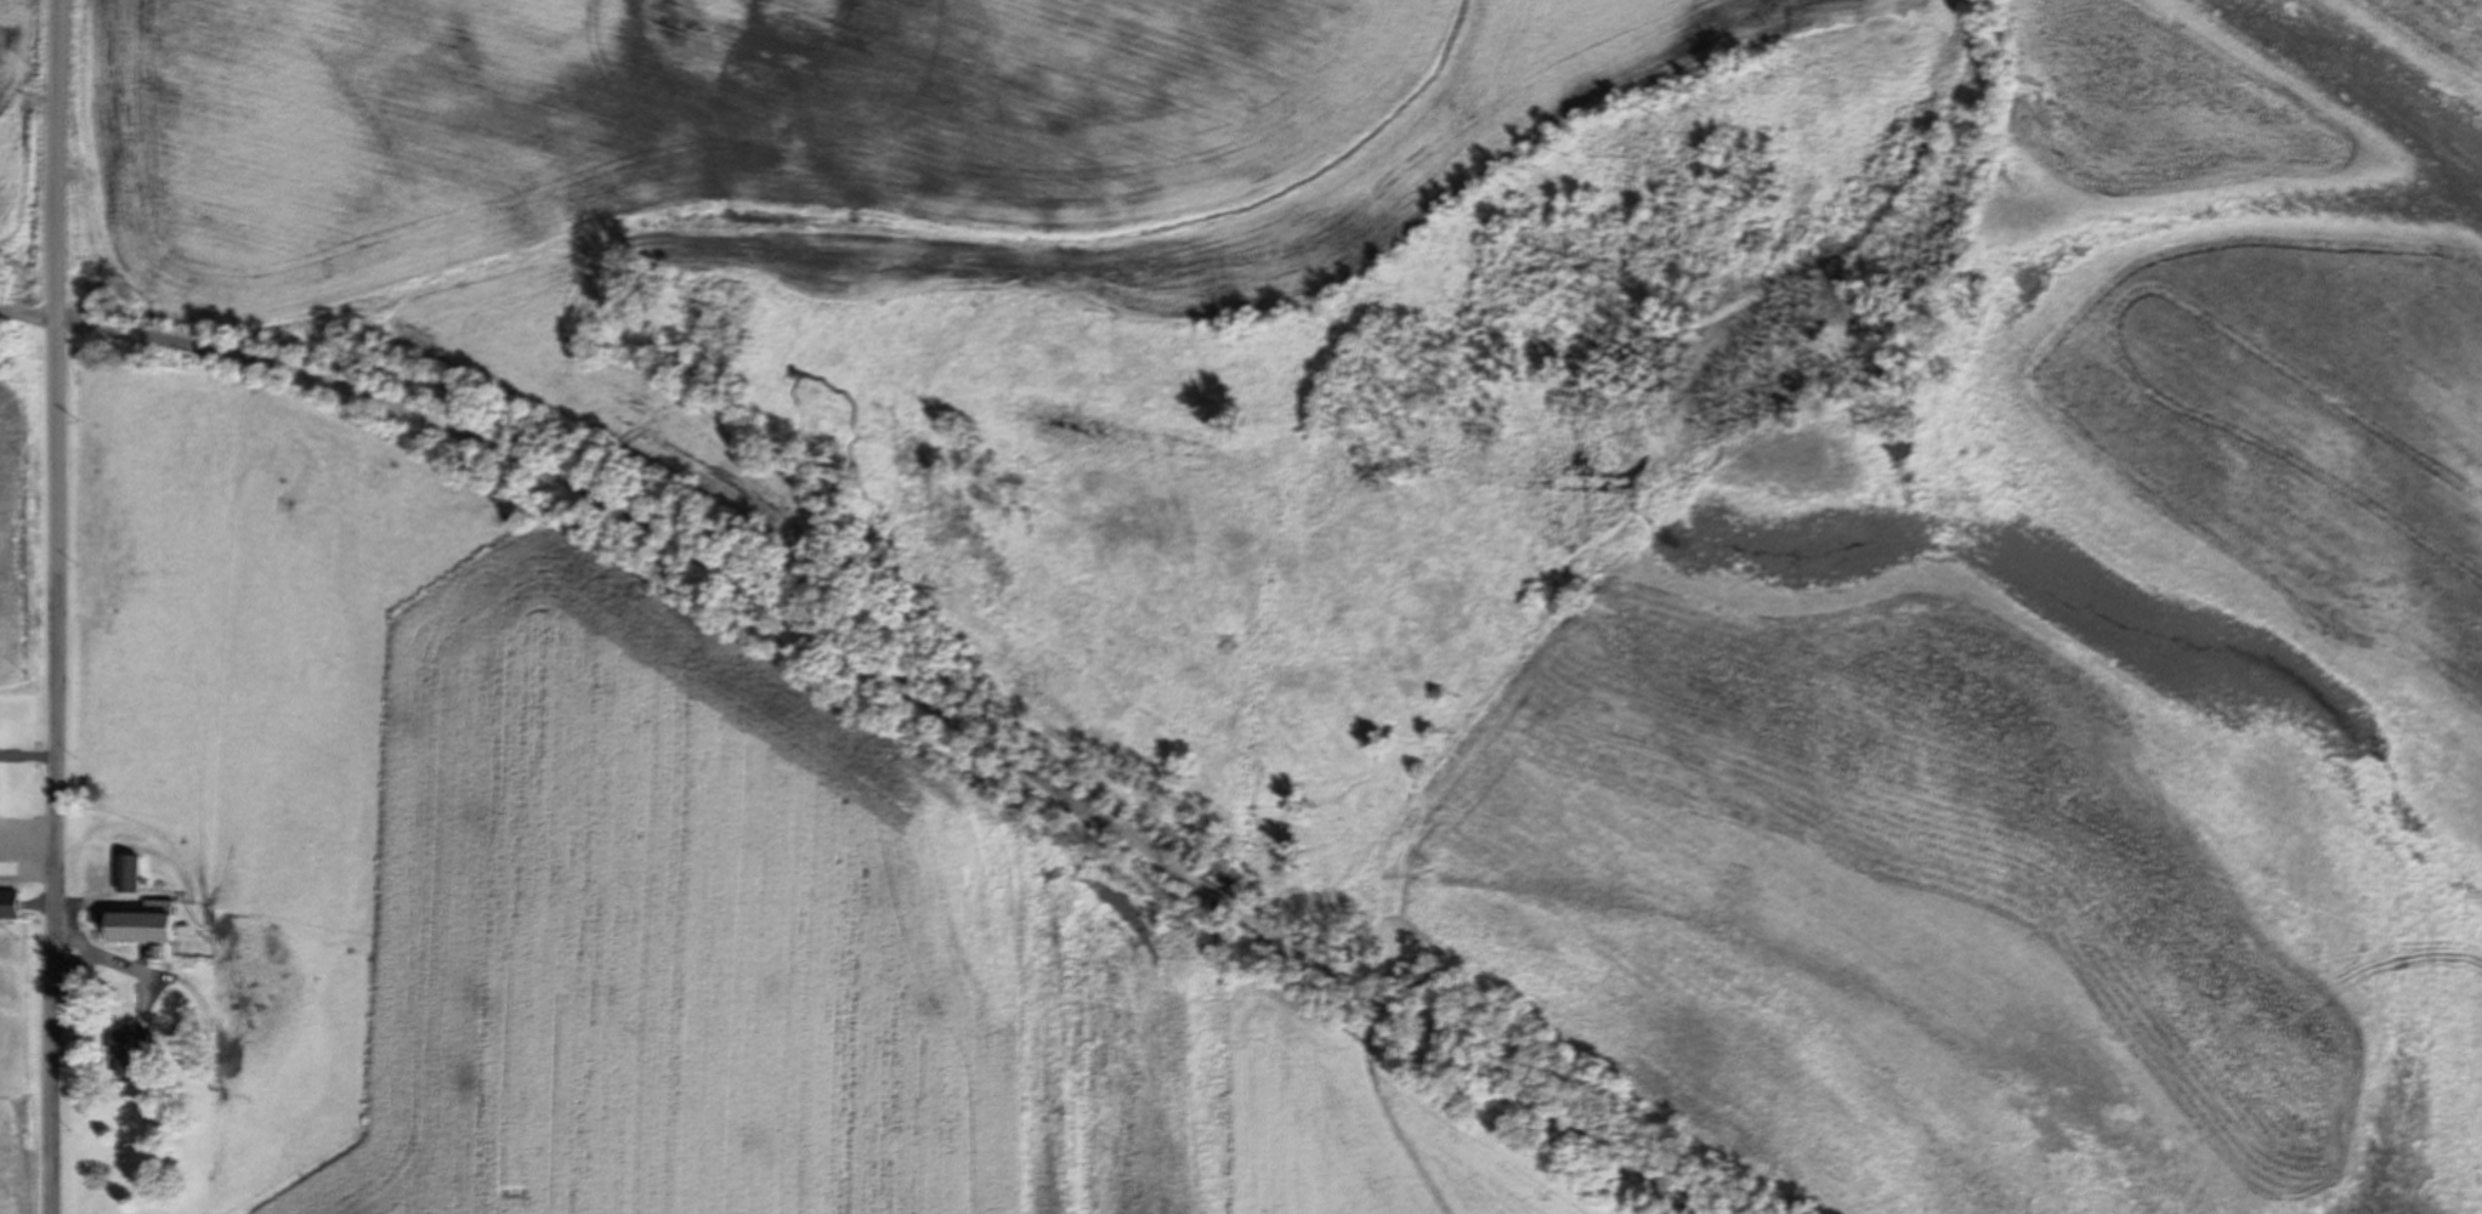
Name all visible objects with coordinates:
road: (58, 606)
road: (912, 653)
building: (129, 873)
building: (10, 904)
building: (141, 923)
building: (131, 1053)

